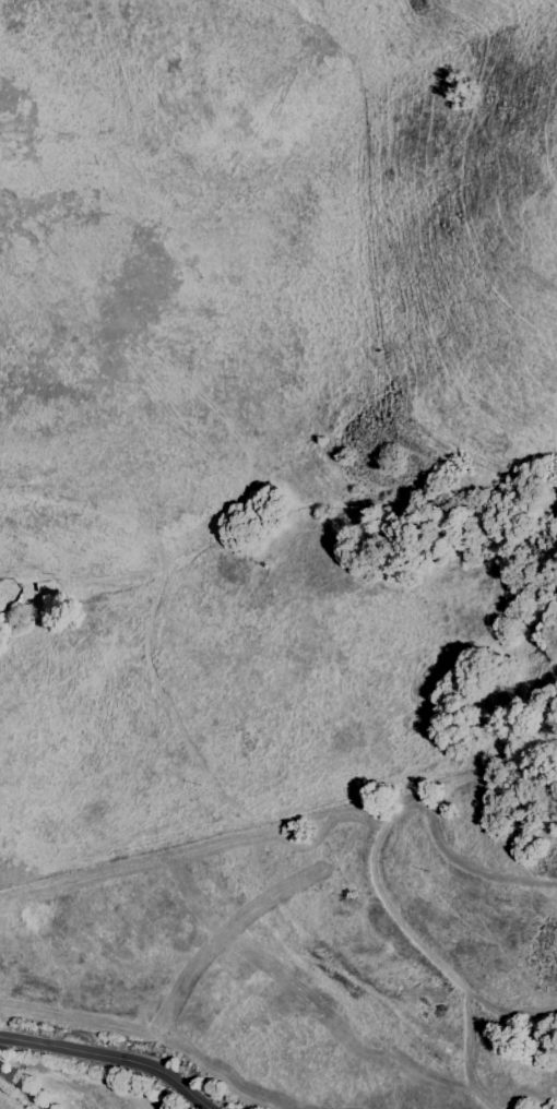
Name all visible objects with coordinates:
road: (109, 1058)
road: (22, 1090)

